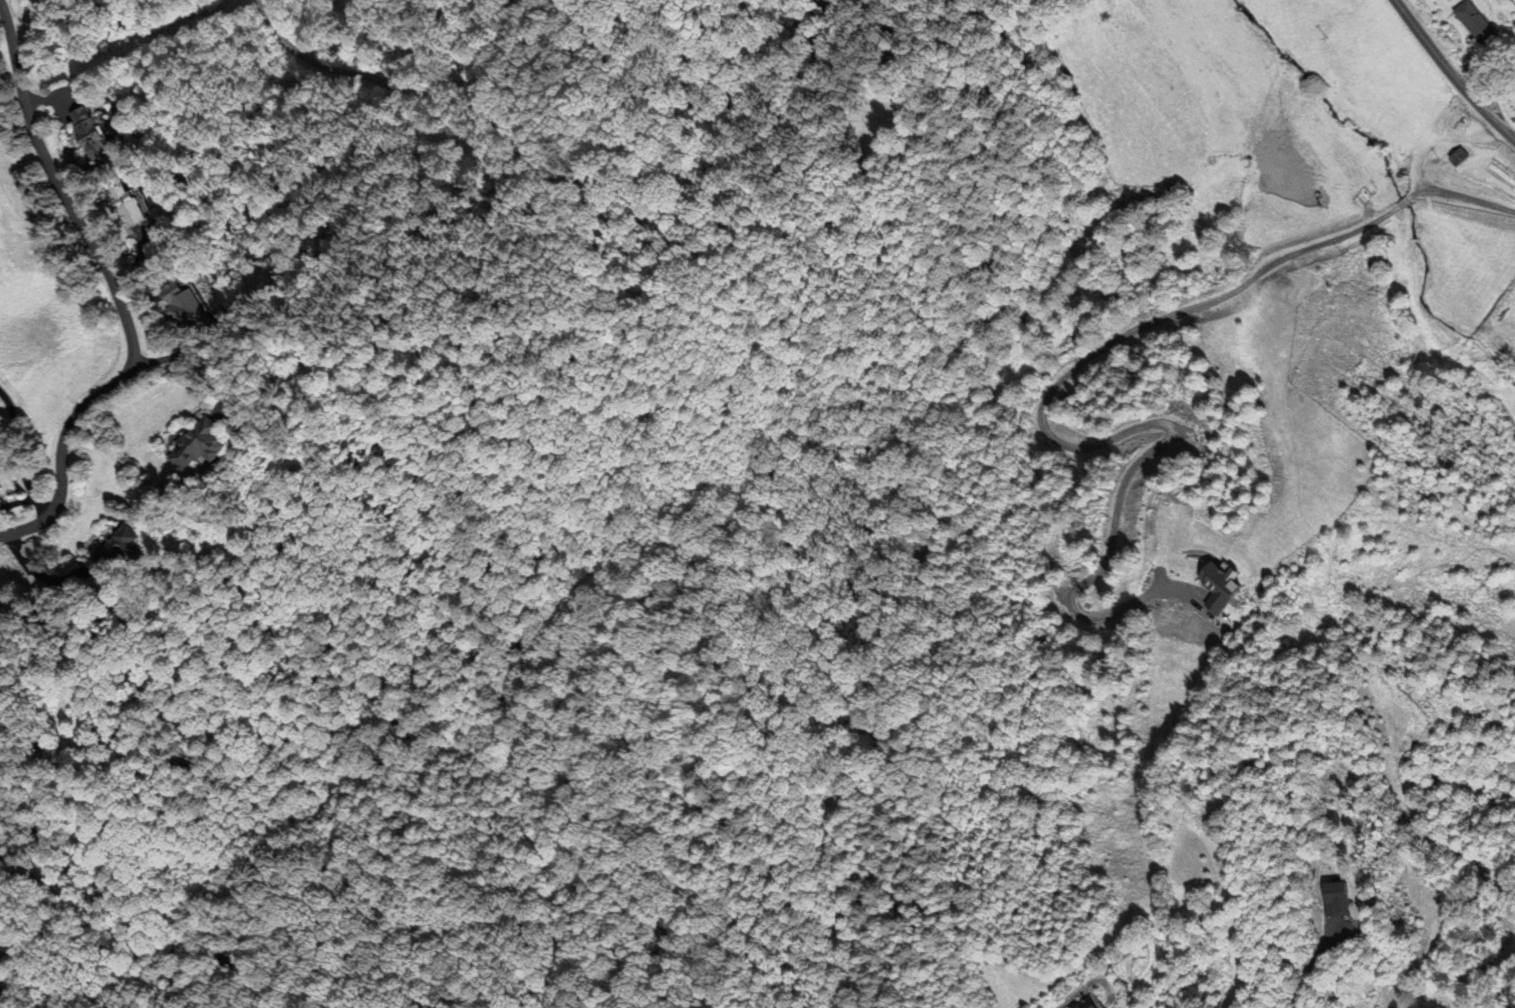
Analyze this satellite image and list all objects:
building: (1472, 22)
road: (310, 60)
road: (1450, 73)
building: (1453, 112)
building: (101, 132)
road: (1466, 200)
building: (143, 210)
road: (115, 290)
building: (196, 309)
building: (205, 444)
building: (117, 550)
building: (3, 979)

